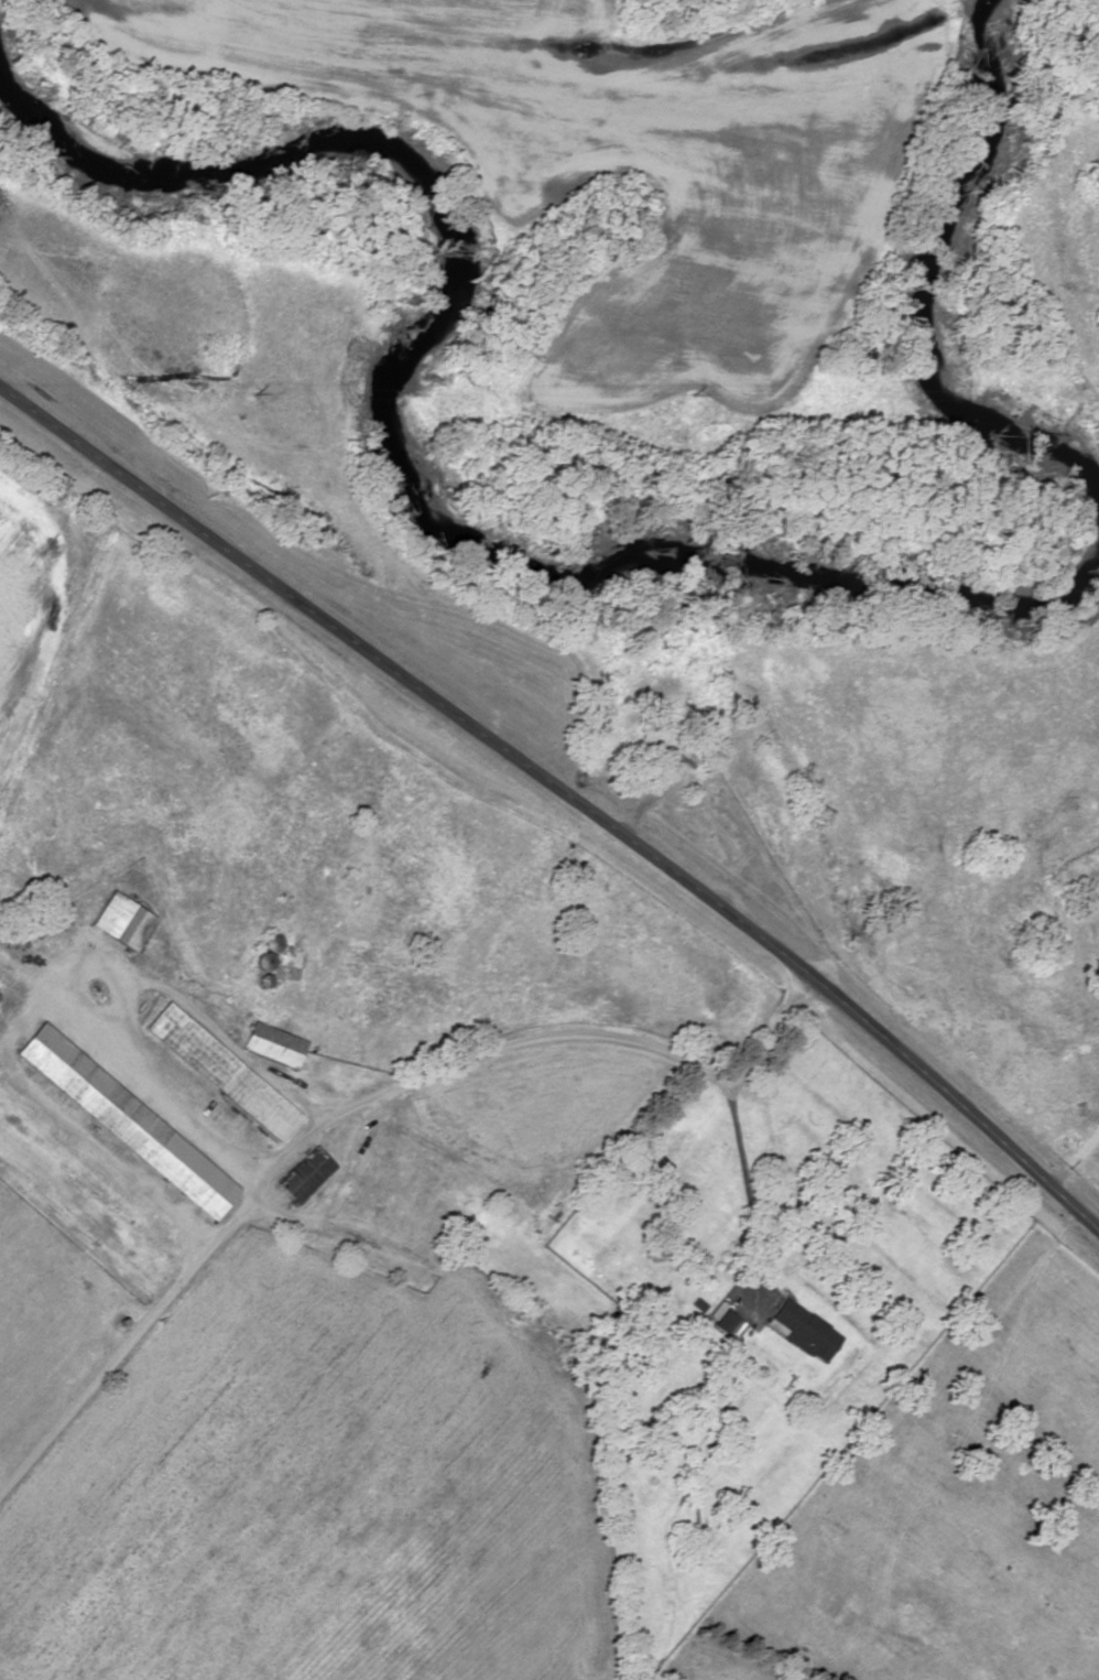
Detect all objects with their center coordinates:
river: (923, 303)
power tower: (696, 394)
power tower: (250, 395)
river: (392, 455)
building: (673, 750)
road: (563, 793)
building: (124, 921)
building: (272, 952)
building: (276, 1045)
building: (225, 1072)
building: (130, 1121)
building: (307, 1175)
building: (727, 1322)
building: (805, 1332)

